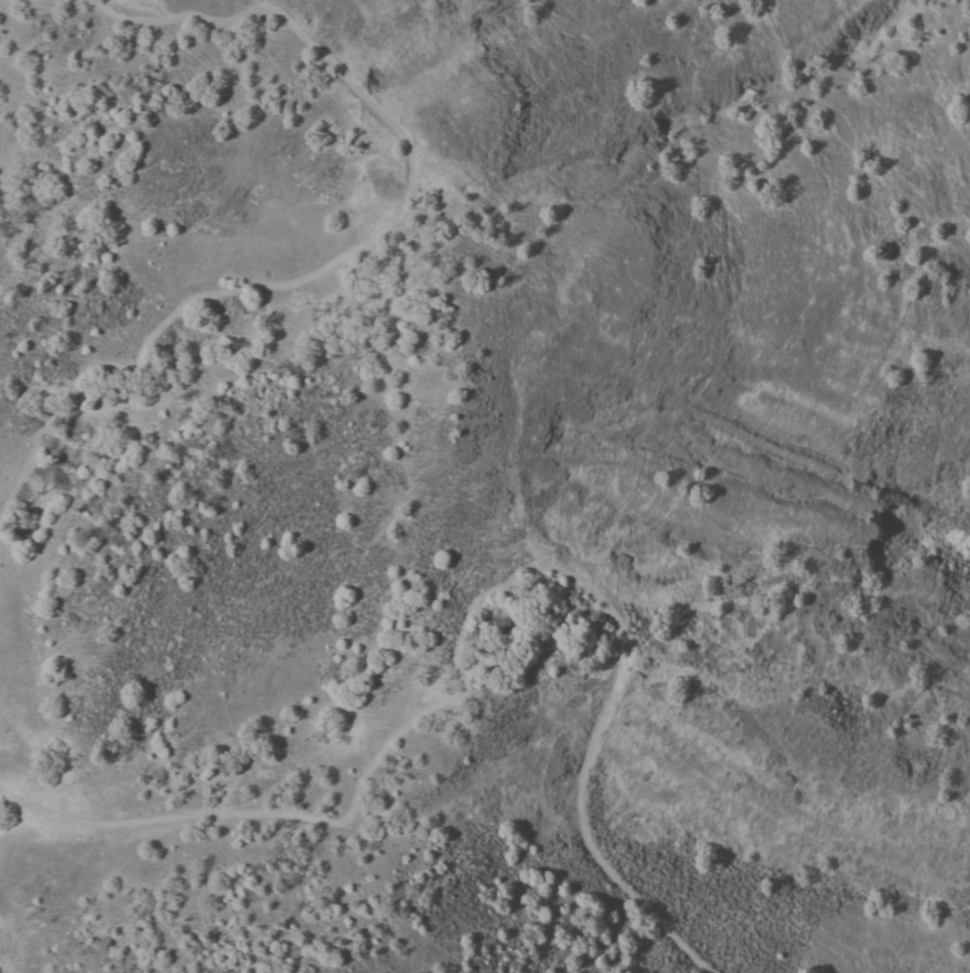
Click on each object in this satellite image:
road: (368, 236)
road: (463, 619)

